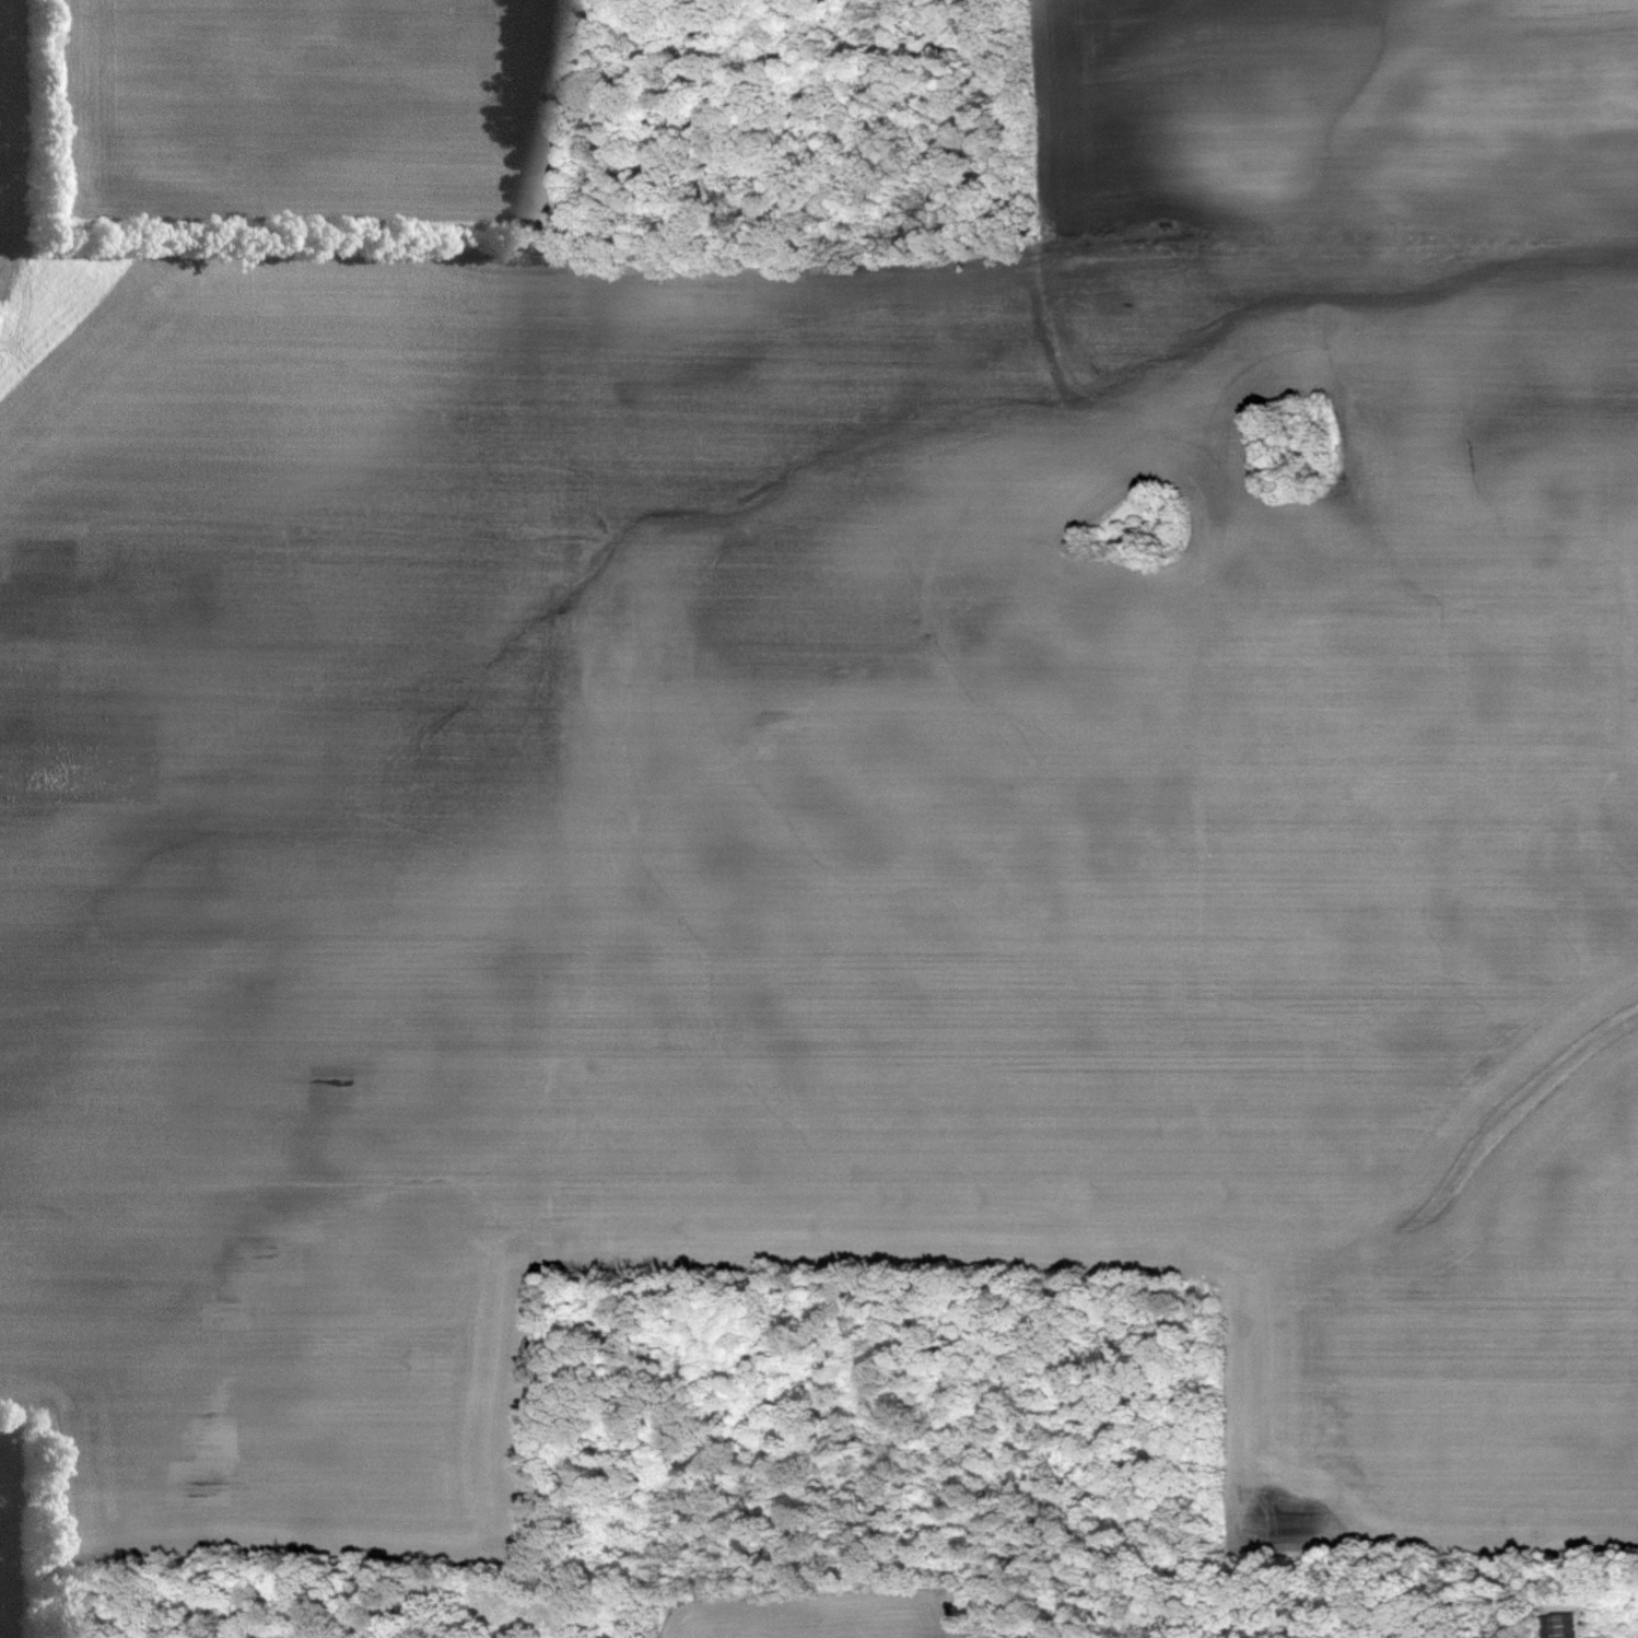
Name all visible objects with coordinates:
building: (1559, 1626)

